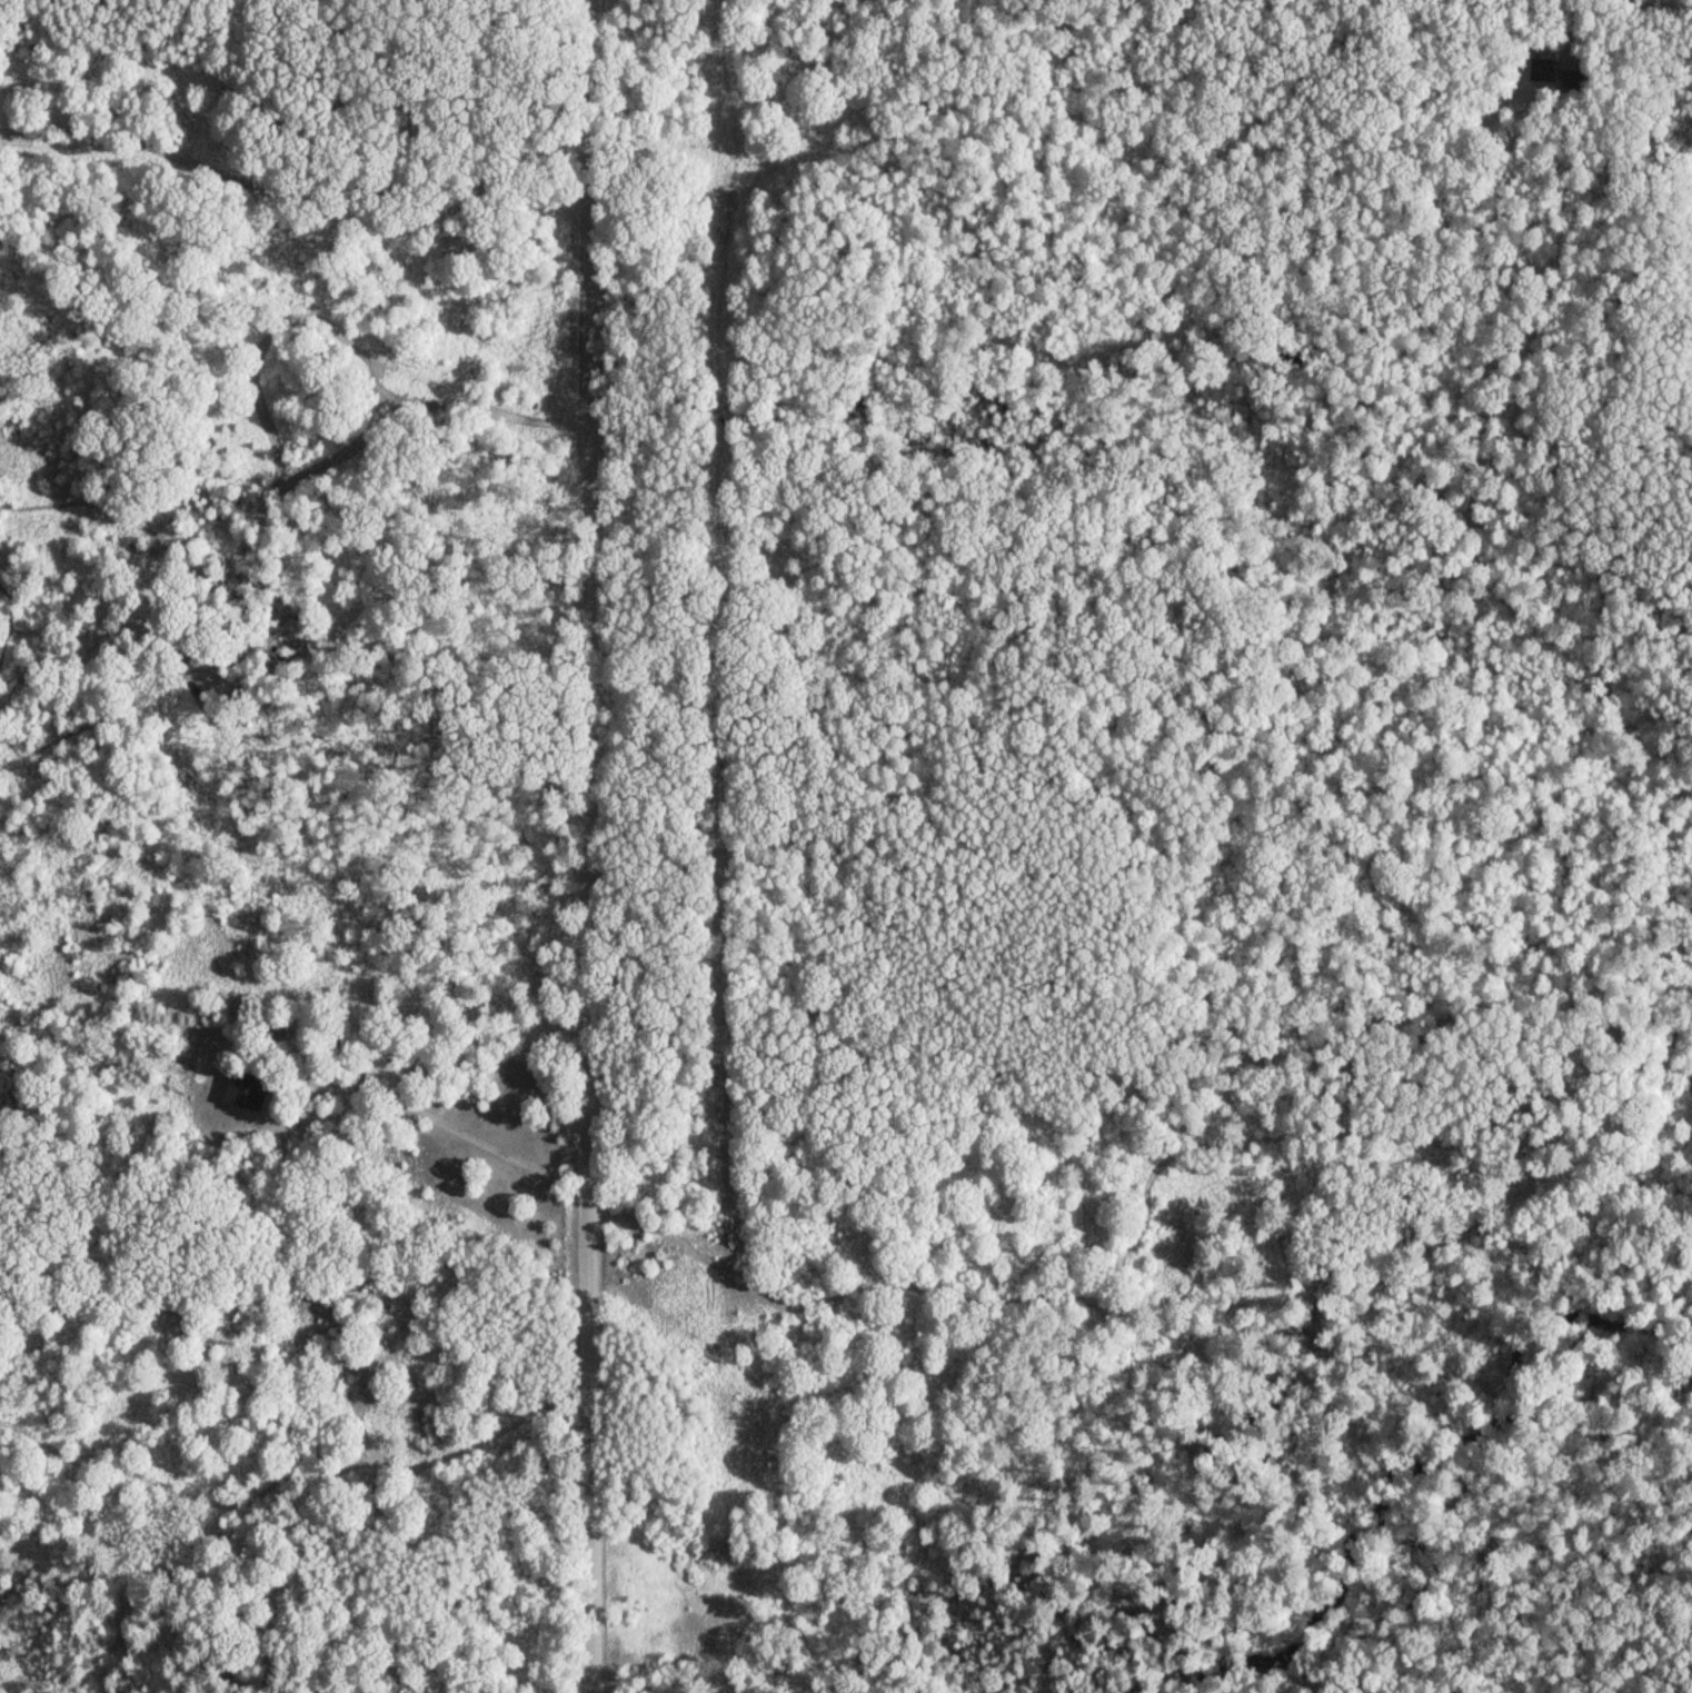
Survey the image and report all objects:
road: (587, 846)
building: (382, 1077)
building: (253, 1089)
road: (375, 1095)

